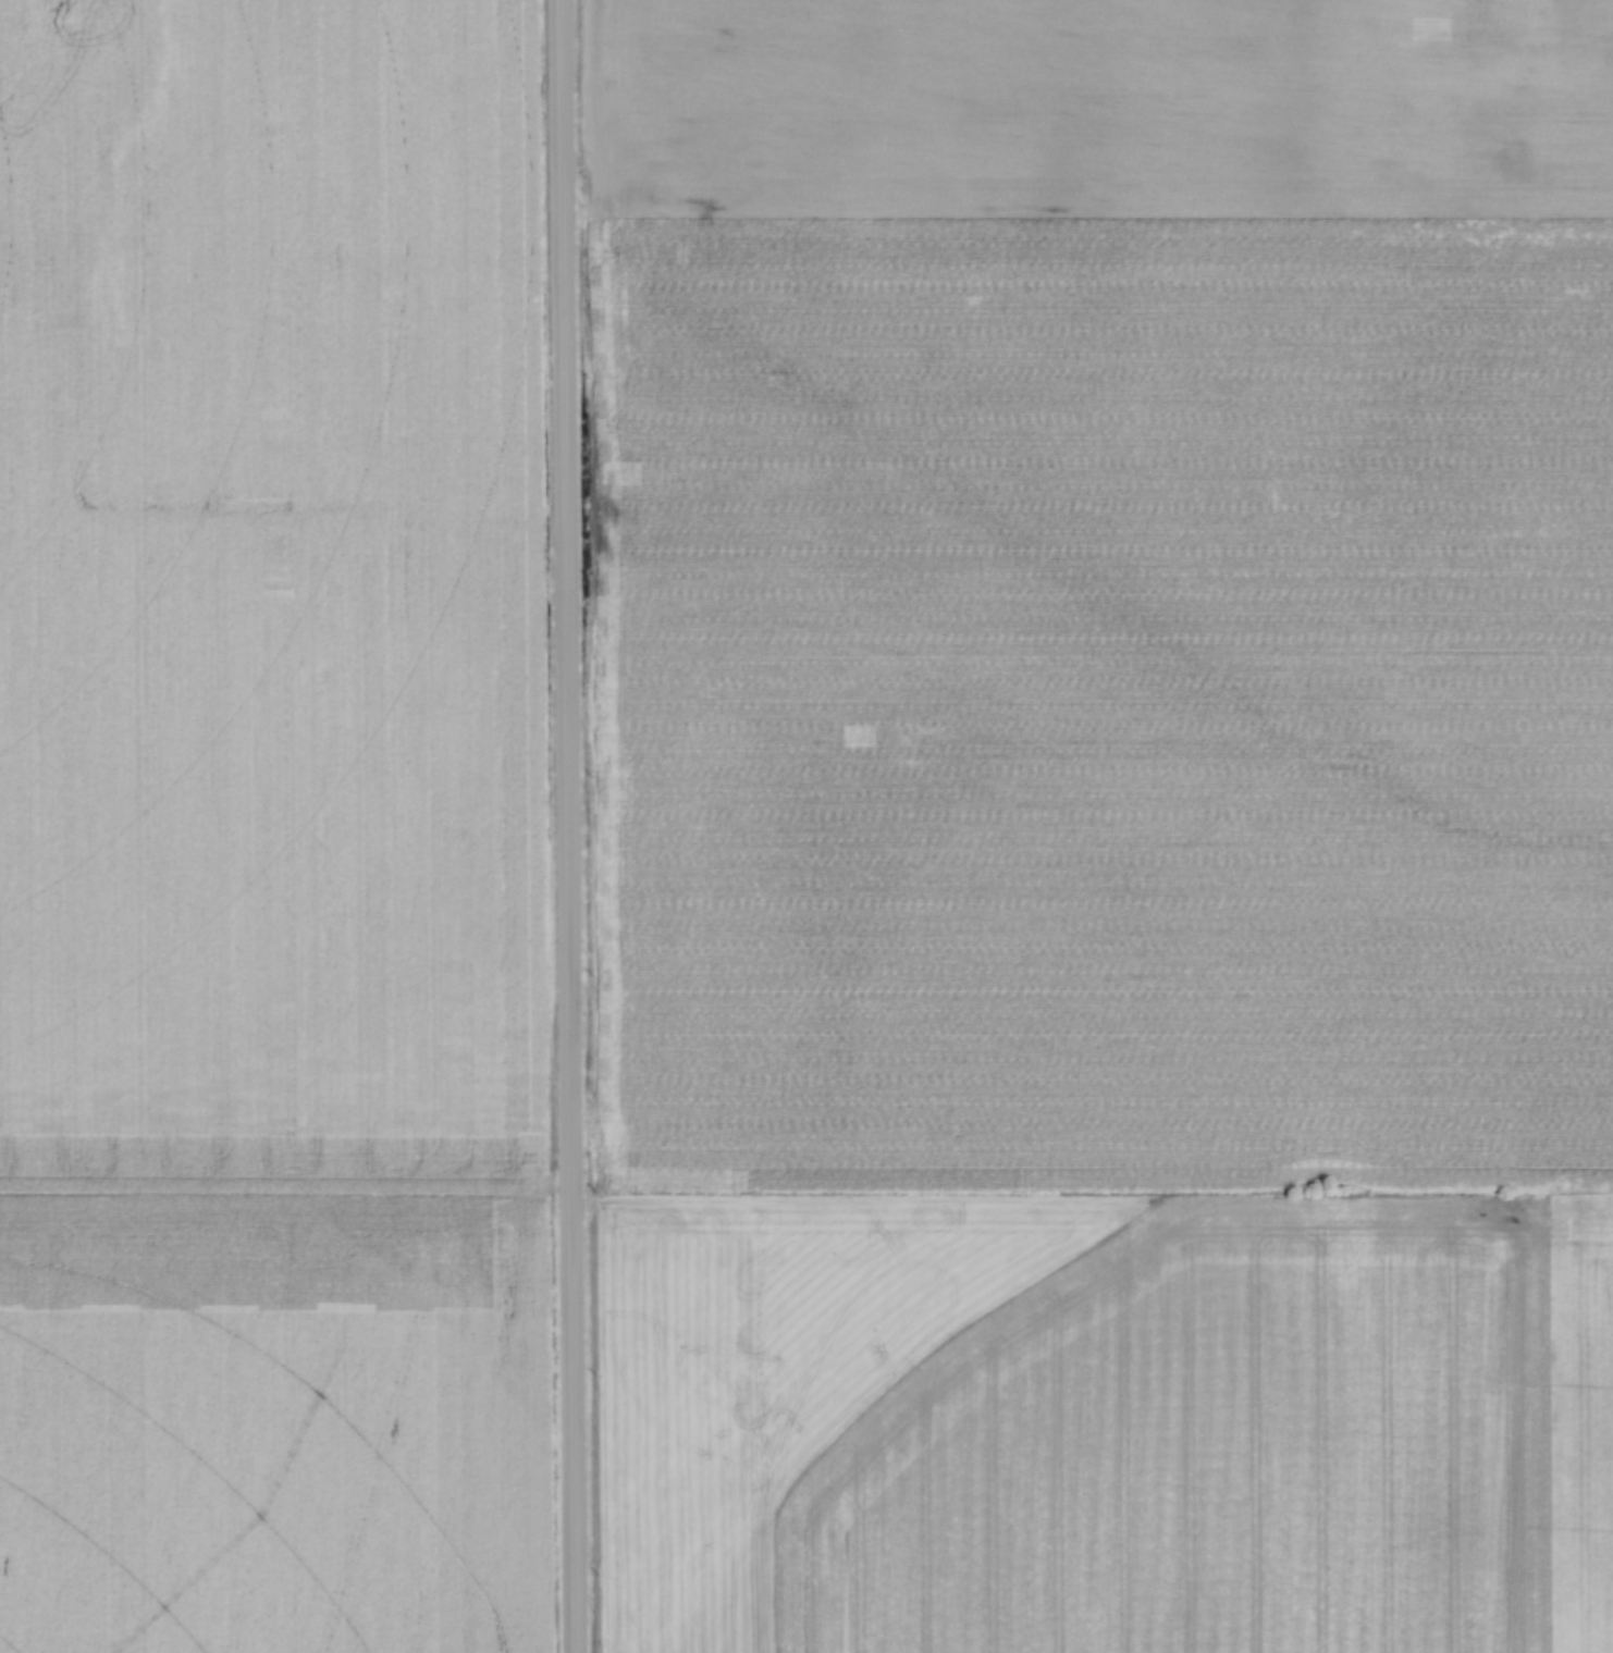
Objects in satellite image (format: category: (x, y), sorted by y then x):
road: (565, 826)

